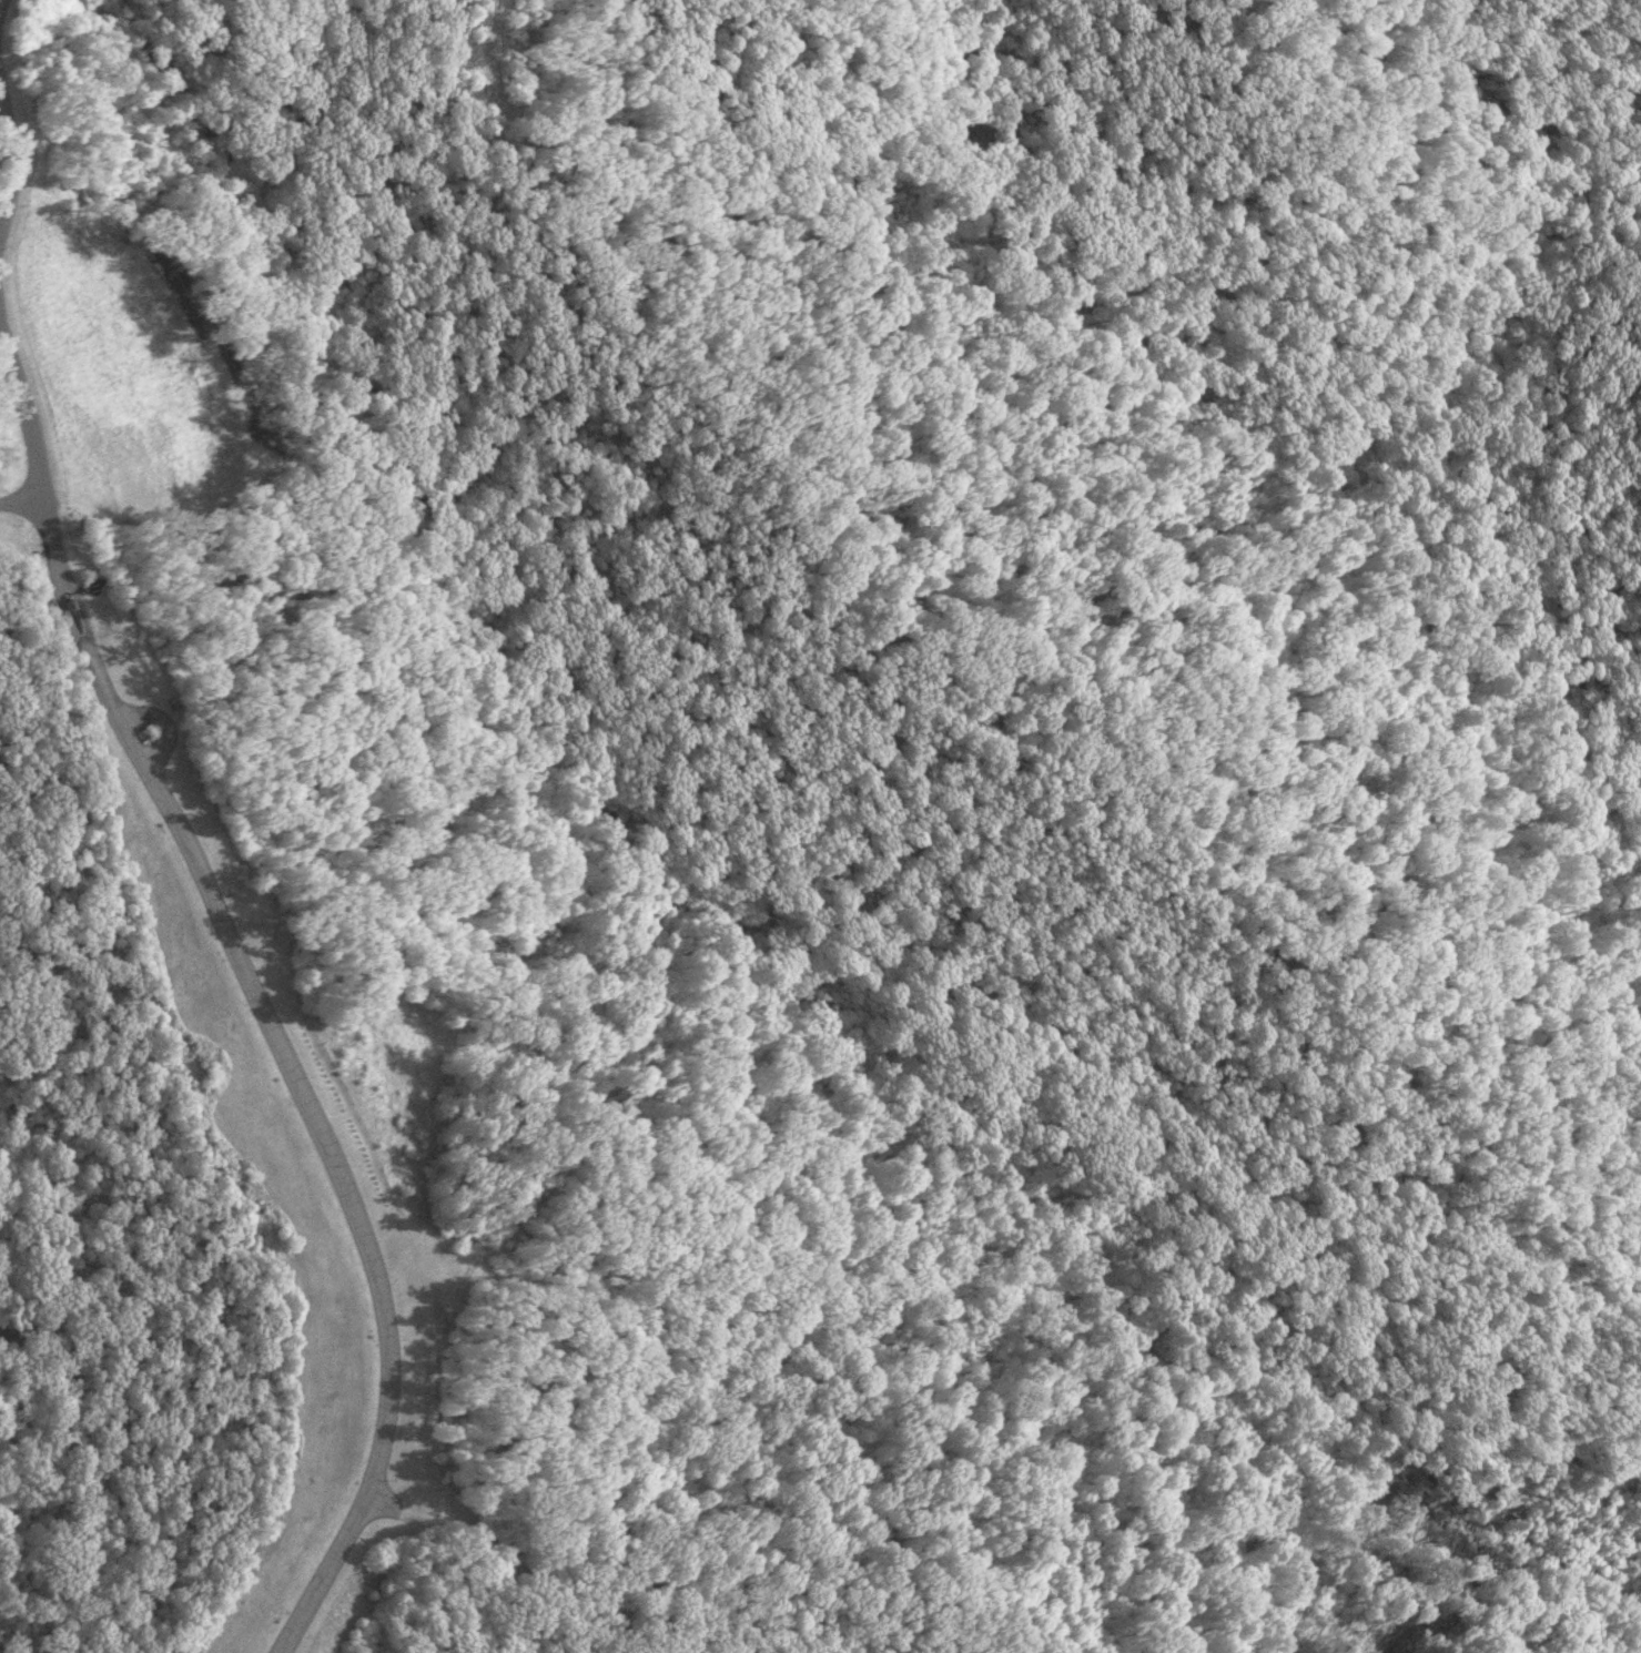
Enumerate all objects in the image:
road: (0, 154)
road: (27, 420)
road: (23, 500)
road: (297, 1075)

